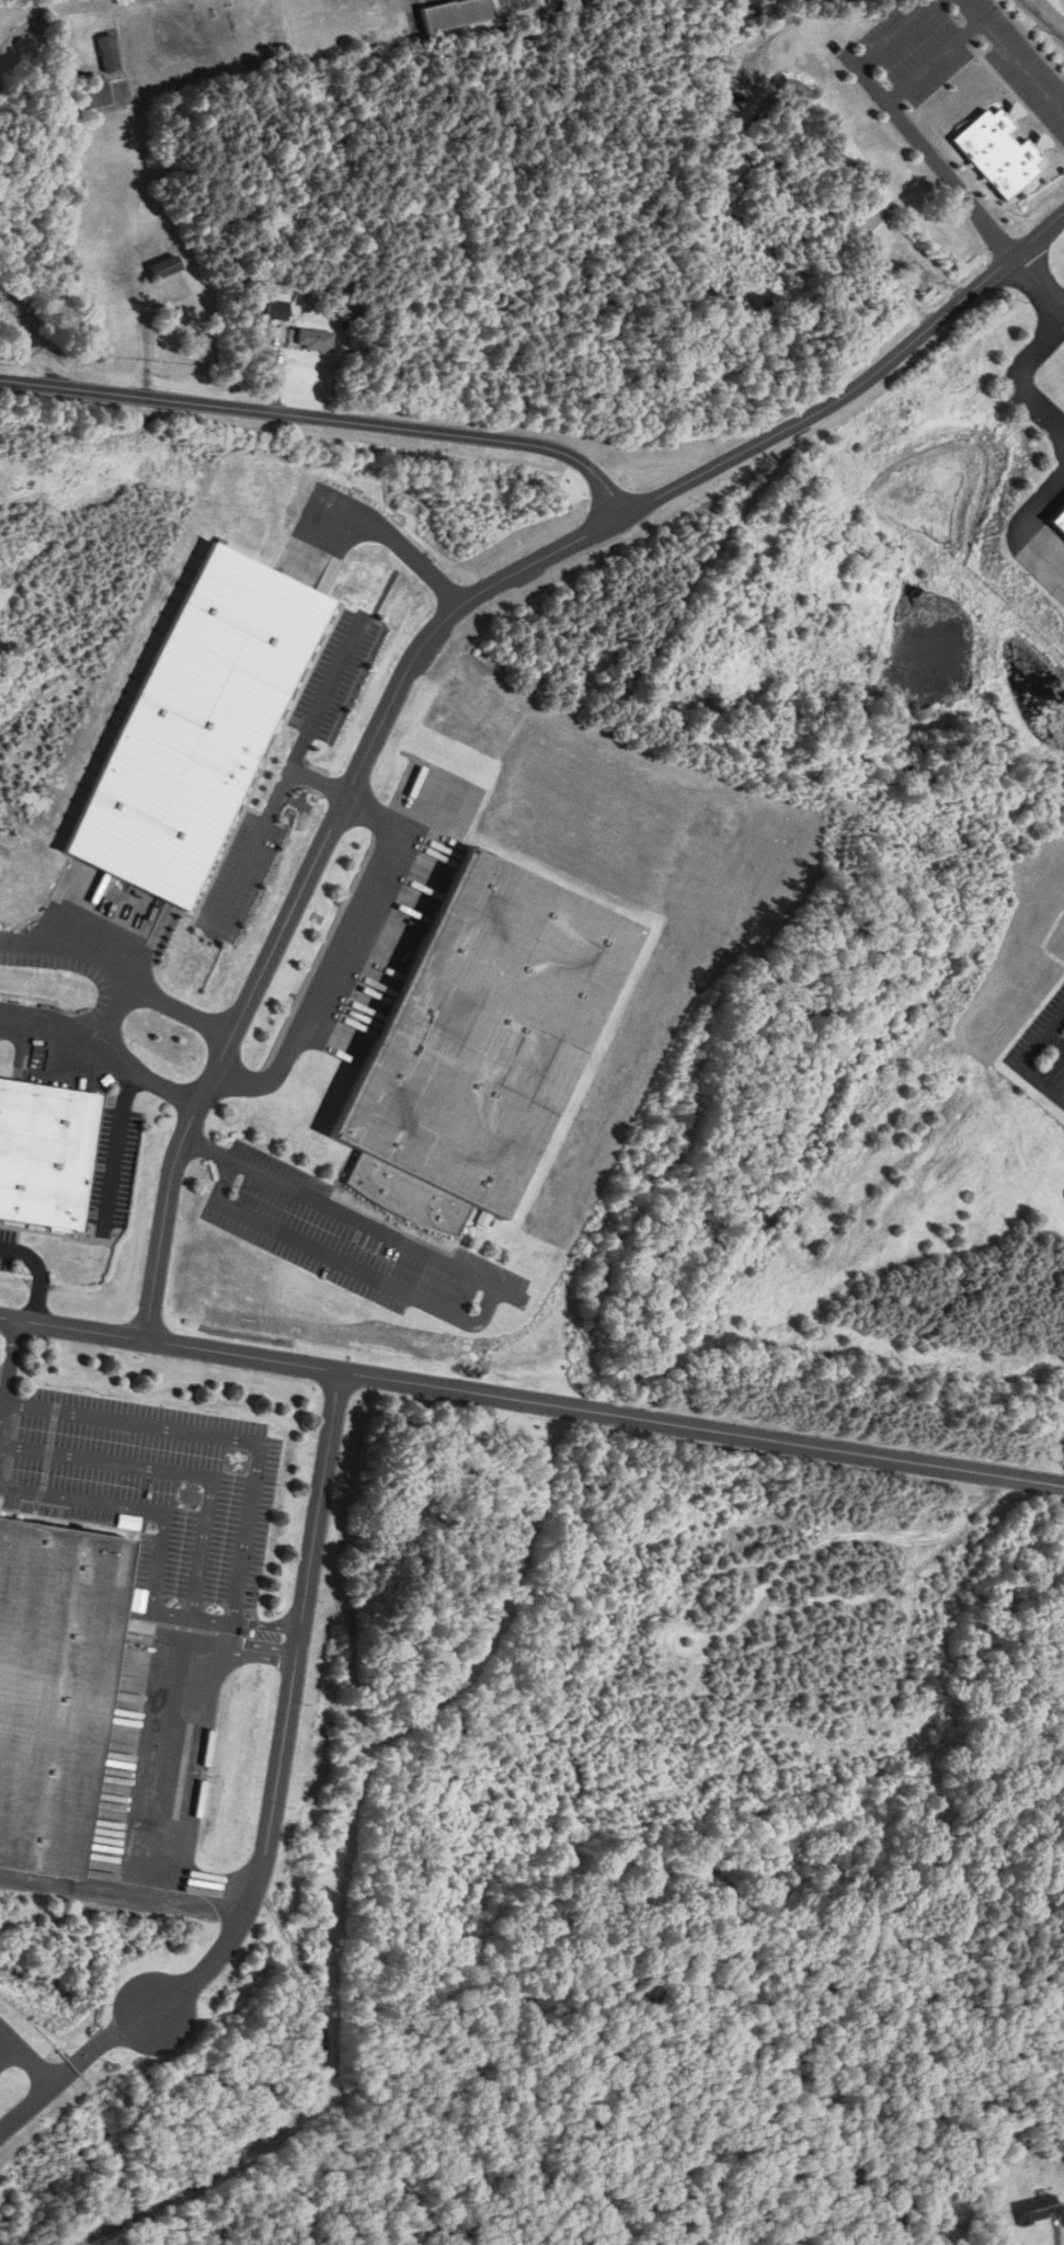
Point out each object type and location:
building: (455, 14)
road: (884, 46)
building: (107, 54)
road: (1014, 56)
road: (935, 61)
building: (90, 94)
road: (950, 181)
building: (876, 227)
building: (163, 269)
road: (1039, 284)
building: (276, 311)
building: (313, 341)
road: (1015, 376)
road: (584, 466)
building: (1054, 520)
road: (1012, 534)
road: (388, 545)
road: (281, 776)
road: (311, 784)
road: (302, 869)
road: (333, 956)
road: (114, 977)
road: (102, 1014)
road: (1054, 1038)
building: (479, 1045)
road: (96, 1055)
road: (1025, 1056)
road: (107, 1149)
building: (45, 1151)
road: (39, 1270)
road: (483, 1306)
road: (1, 1332)
road: (531, 1400)
road: (211, 1440)
road: (170, 1472)
road: (147, 1566)
building: (53, 1668)
road: (161, 1697)
road: (287, 1711)
road: (96, 2044)
road: (7, 2051)
road: (25, 2058)
road: (25, 2109)
building: (1037, 2210)

